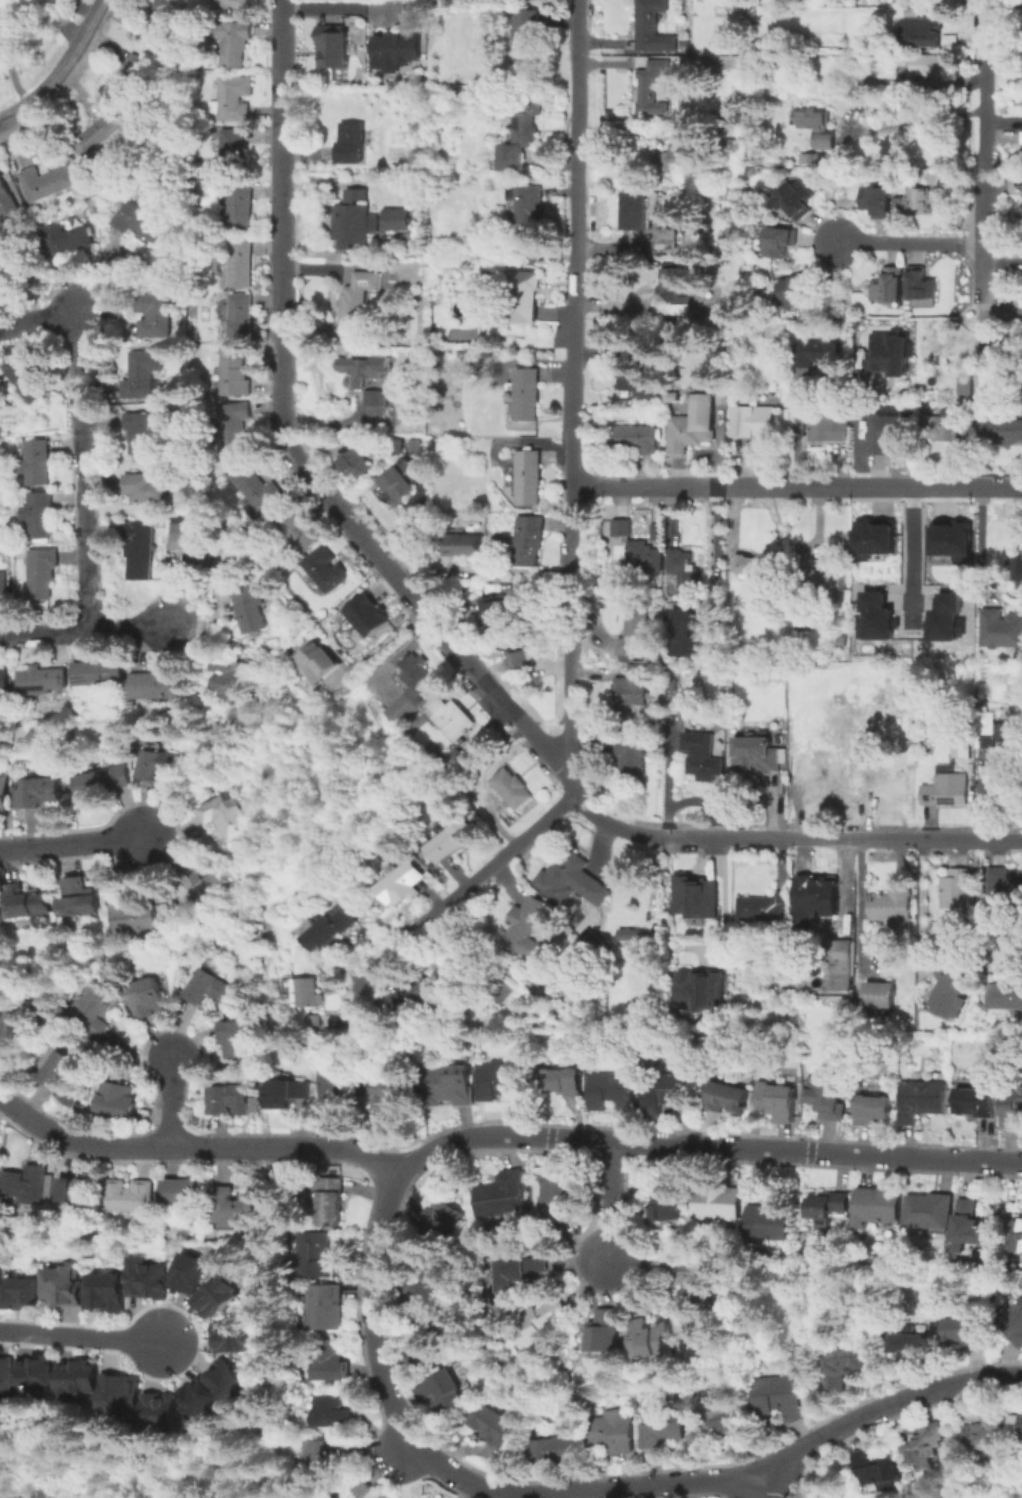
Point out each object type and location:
building: (233, 4)
road: (336, 5)
building: (772, 13)
building: (163, 20)
road: (56, 26)
building: (651, 26)
building: (923, 33)
building: (527, 37)
building: (813, 38)
building: (828, 38)
building: (400, 42)
building: (235, 44)
building: (333, 47)
building: (932, 67)
road: (58, 68)
road: (10, 76)
building: (131, 78)
building: (652, 90)
building: (233, 101)
building: (814, 117)
road: (925, 118)
building: (98, 135)
building: (523, 136)
building: (1021, 140)
building: (826, 141)
building: (353, 143)
road: (983, 151)
building: (231, 156)
building: (676, 158)
building: (46, 181)
building: (1021, 198)
building: (793, 200)
building: (919, 200)
building: (877, 202)
building: (6, 204)
building: (242, 209)
building: (530, 210)
building: (638, 211)
building: (144, 220)
building: (397, 220)
building: (353, 222)
building: (666, 240)
building: (68, 241)
building: (779, 243)
road: (909, 244)
building: (242, 264)
building: (17, 266)
building: (921, 286)
building: (889, 287)
building: (797, 291)
building: (676, 294)
building: (359, 295)
building: (524, 297)
building: (155, 317)
building: (241, 317)
building: (997, 345)
building: (885, 352)
building: (821, 354)
building: (364, 370)
building: (146, 374)
building: (233, 374)
building: (636, 375)
building: (1, 377)
building: (32, 382)
building: (965, 385)
building: (528, 396)
building: (376, 400)
building: (754, 422)
building: (693, 425)
building: (235, 426)
road: (793, 426)
building: (826, 428)
building: (952, 430)
road: (82, 432)
building: (1003, 432)
building: (886, 433)
building: (144, 434)
building: (635, 440)
road: (290, 446)
building: (38, 461)
building: (357, 463)
building: (529, 479)
building: (400, 482)
road: (795, 484)
building: (147, 489)
building: (256, 492)
building: (40, 514)
building: (296, 529)
building: (621, 529)
building: (655, 533)
building: (872, 535)
building: (950, 539)
road: (567, 540)
building: (527, 542)
road: (979, 543)
road: (713, 545)
building: (463, 546)
building: (197, 548)
building: (142, 551)
road: (911, 554)
building: (644, 558)
building: (754, 565)
building: (1017, 569)
building: (325, 570)
building: (42, 571)
building: (679, 572)
building: (830, 579)
building: (3, 587)
building: (250, 611)
building: (496, 612)
building: (367, 616)
building: (875, 617)
building: (945, 617)
road: (85, 629)
building: (1001, 631)
building: (634, 632)
building: (688, 633)
road: (382, 644)
building: (527, 652)
building: (317, 662)
building: (231, 673)
building: (100, 674)
building: (4, 682)
building: (44, 682)
building: (631, 682)
building: (415, 685)
building: (158, 686)
building: (452, 720)
building: (1010, 727)
building: (985, 736)
building: (843, 742)
building: (24, 744)
building: (963, 749)
building: (756, 755)
building: (702, 758)
building: (632, 762)
building: (456, 767)
building: (160, 768)
building: (821, 772)
building: (105, 782)
building: (890, 787)
building: (513, 789)
building: (946, 790)
building: (39, 792)
building: (4, 795)
building: (228, 821)
road: (791, 837)
building: (450, 840)
road: (72, 843)
building: (570, 882)
building: (205, 884)
building: (402, 884)
building: (1005, 886)
road: (721, 891)
building: (956, 891)
building: (696, 898)
building: (812, 898)
building: (79, 899)
road: (919, 900)
building: (24, 901)
road: (858, 903)
building: (892, 908)
building: (763, 909)
building: (132, 917)
building: (327, 929)
building: (526, 930)
building: (630, 938)
building: (454, 964)
building: (843, 965)
building: (952, 985)
building: (214, 989)
building: (702, 991)
building: (308, 992)
building: (417, 996)
building: (1015, 996)
building: (882, 998)
building: (149, 999)
building: (95, 1008)
building: (11, 1031)
building: (236, 1038)
building: (59, 1072)
building: (504, 1080)
building: (565, 1082)
building: (453, 1084)
building: (340, 1089)
building: (395, 1091)
building: (614, 1093)
building: (668, 1093)
building: (284, 1094)
building: (726, 1099)
road: (169, 1100)
building: (229, 1100)
building: (119, 1101)
building: (780, 1102)
building: (922, 1102)
building: (978, 1102)
building: (830, 1104)
building: (1014, 1106)
building: (874, 1110)
road: (197, 1146)
road: (397, 1179)
building: (23, 1186)
building: (76, 1191)
building: (184, 1193)
building: (502, 1196)
building: (558, 1197)
building: (129, 1198)
road: (608, 1200)
building: (332, 1201)
building: (668, 1202)
building: (719, 1202)
building: (879, 1205)
building: (829, 1207)
building: (234, 1208)
building: (931, 1213)
building: (440, 1220)
building: (769, 1224)
building: (971, 1226)
building: (1016, 1238)
building: (317, 1258)
building: (523, 1270)
building: (188, 1273)
building: (145, 1281)
building: (699, 1281)
building: (60, 1287)
building: (429, 1288)
building: (18, 1292)
building: (105, 1294)
building: (217, 1297)
building: (326, 1309)
building: (1014, 1320)
building: (546, 1325)
building: (605, 1333)
building: (966, 1334)
road: (82, 1336)
building: (233, 1337)
building: (429, 1343)
building: (653, 1343)
building: (911, 1346)
building: (329, 1363)
building: (842, 1367)
building: (37, 1378)
building: (227, 1380)
building: (5, 1381)
building: (77, 1383)
building: (443, 1392)
building: (779, 1395)
building: (121, 1398)
building: (198, 1399)
road: (883, 1409)
building: (159, 1412)
building: (331, 1413)
building: (728, 1422)
building: (1019, 1422)
building: (493, 1425)
building: (661, 1428)
building: (985, 1430)
building: (610, 1432)
building: (928, 1447)
building: (560, 1449)
building: (330, 1459)
building: (878, 1468)
park: (110, 1472)
road: (761, 1490)
building: (364, 1491)
building: (325, 1496)

